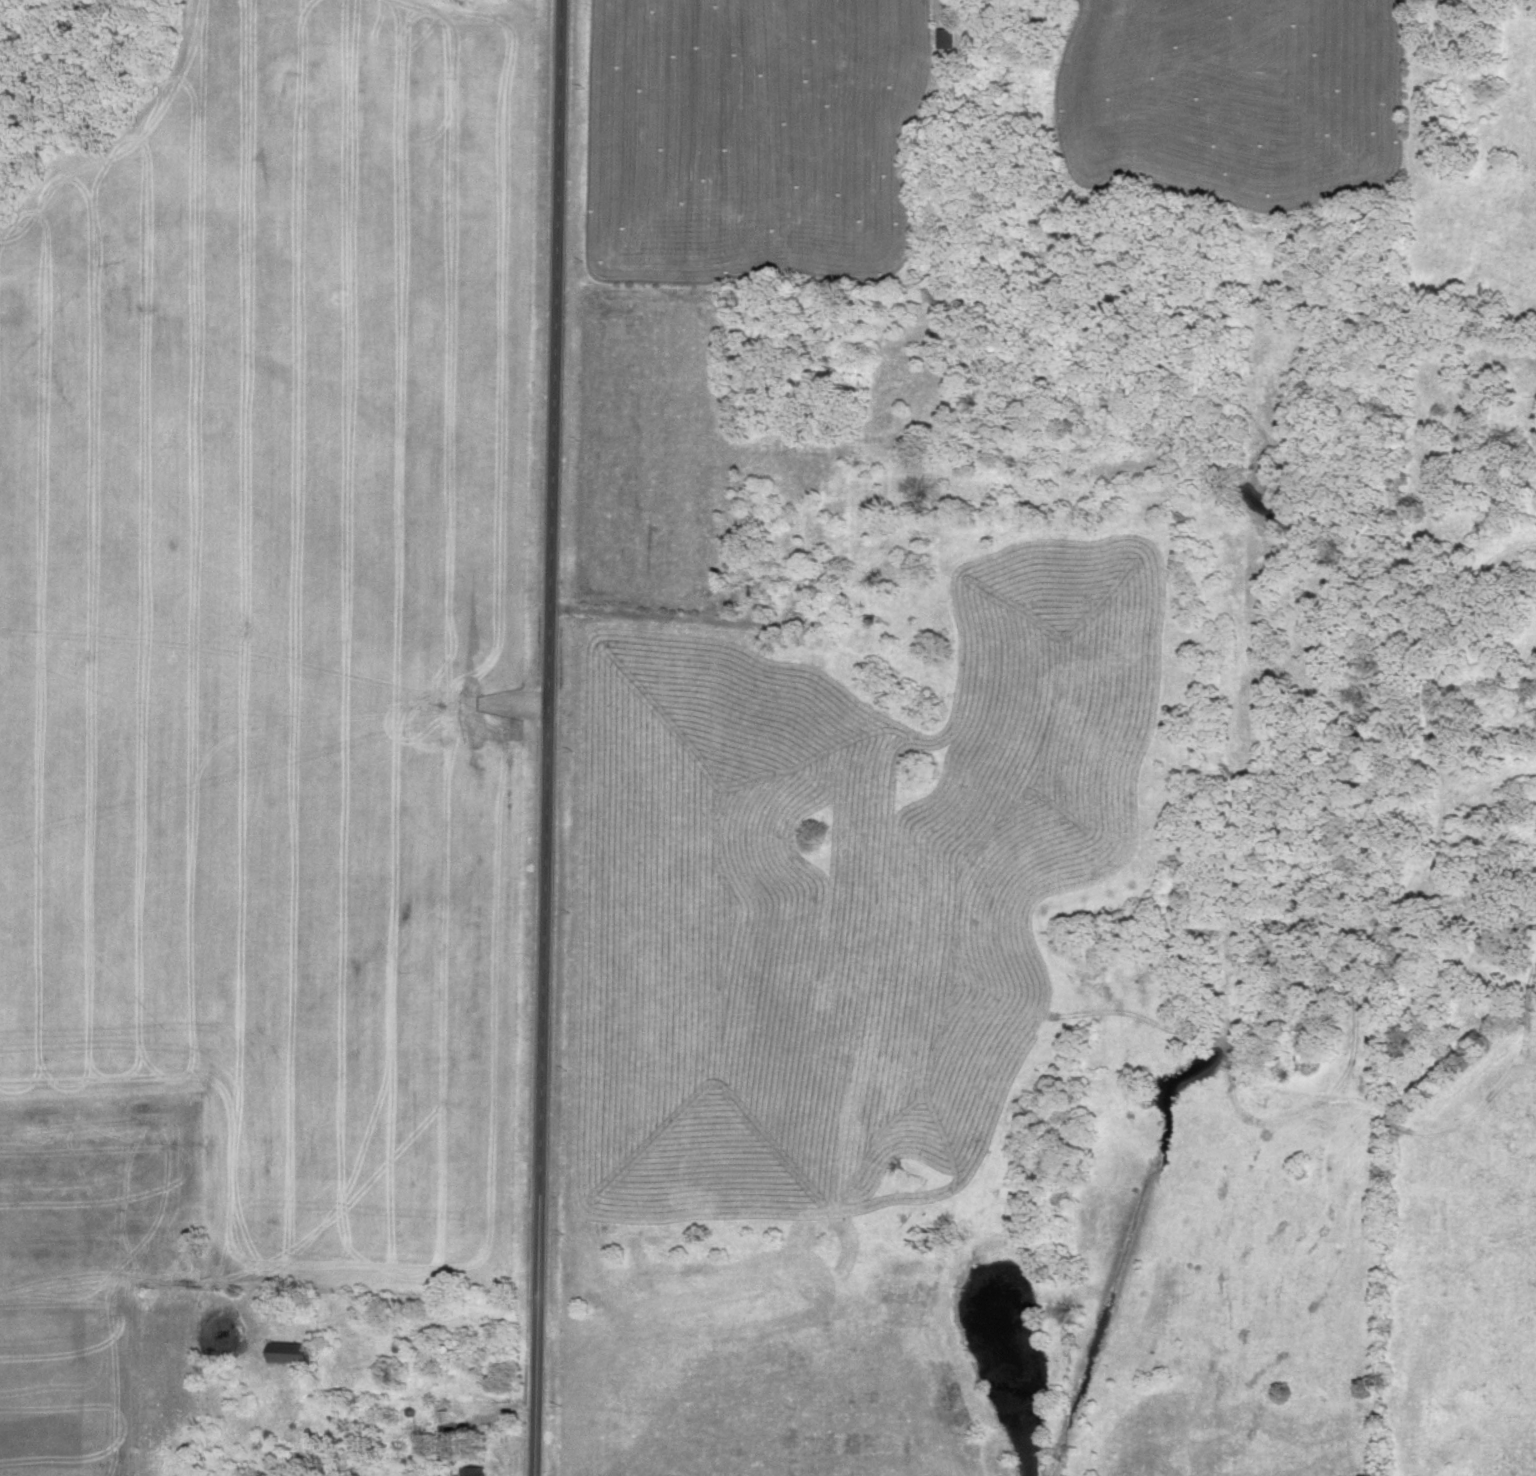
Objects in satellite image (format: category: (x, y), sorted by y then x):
building: (943, 32)
road: (547, 738)
building: (399, 1348)
building: (285, 1354)
building: (471, 1472)

